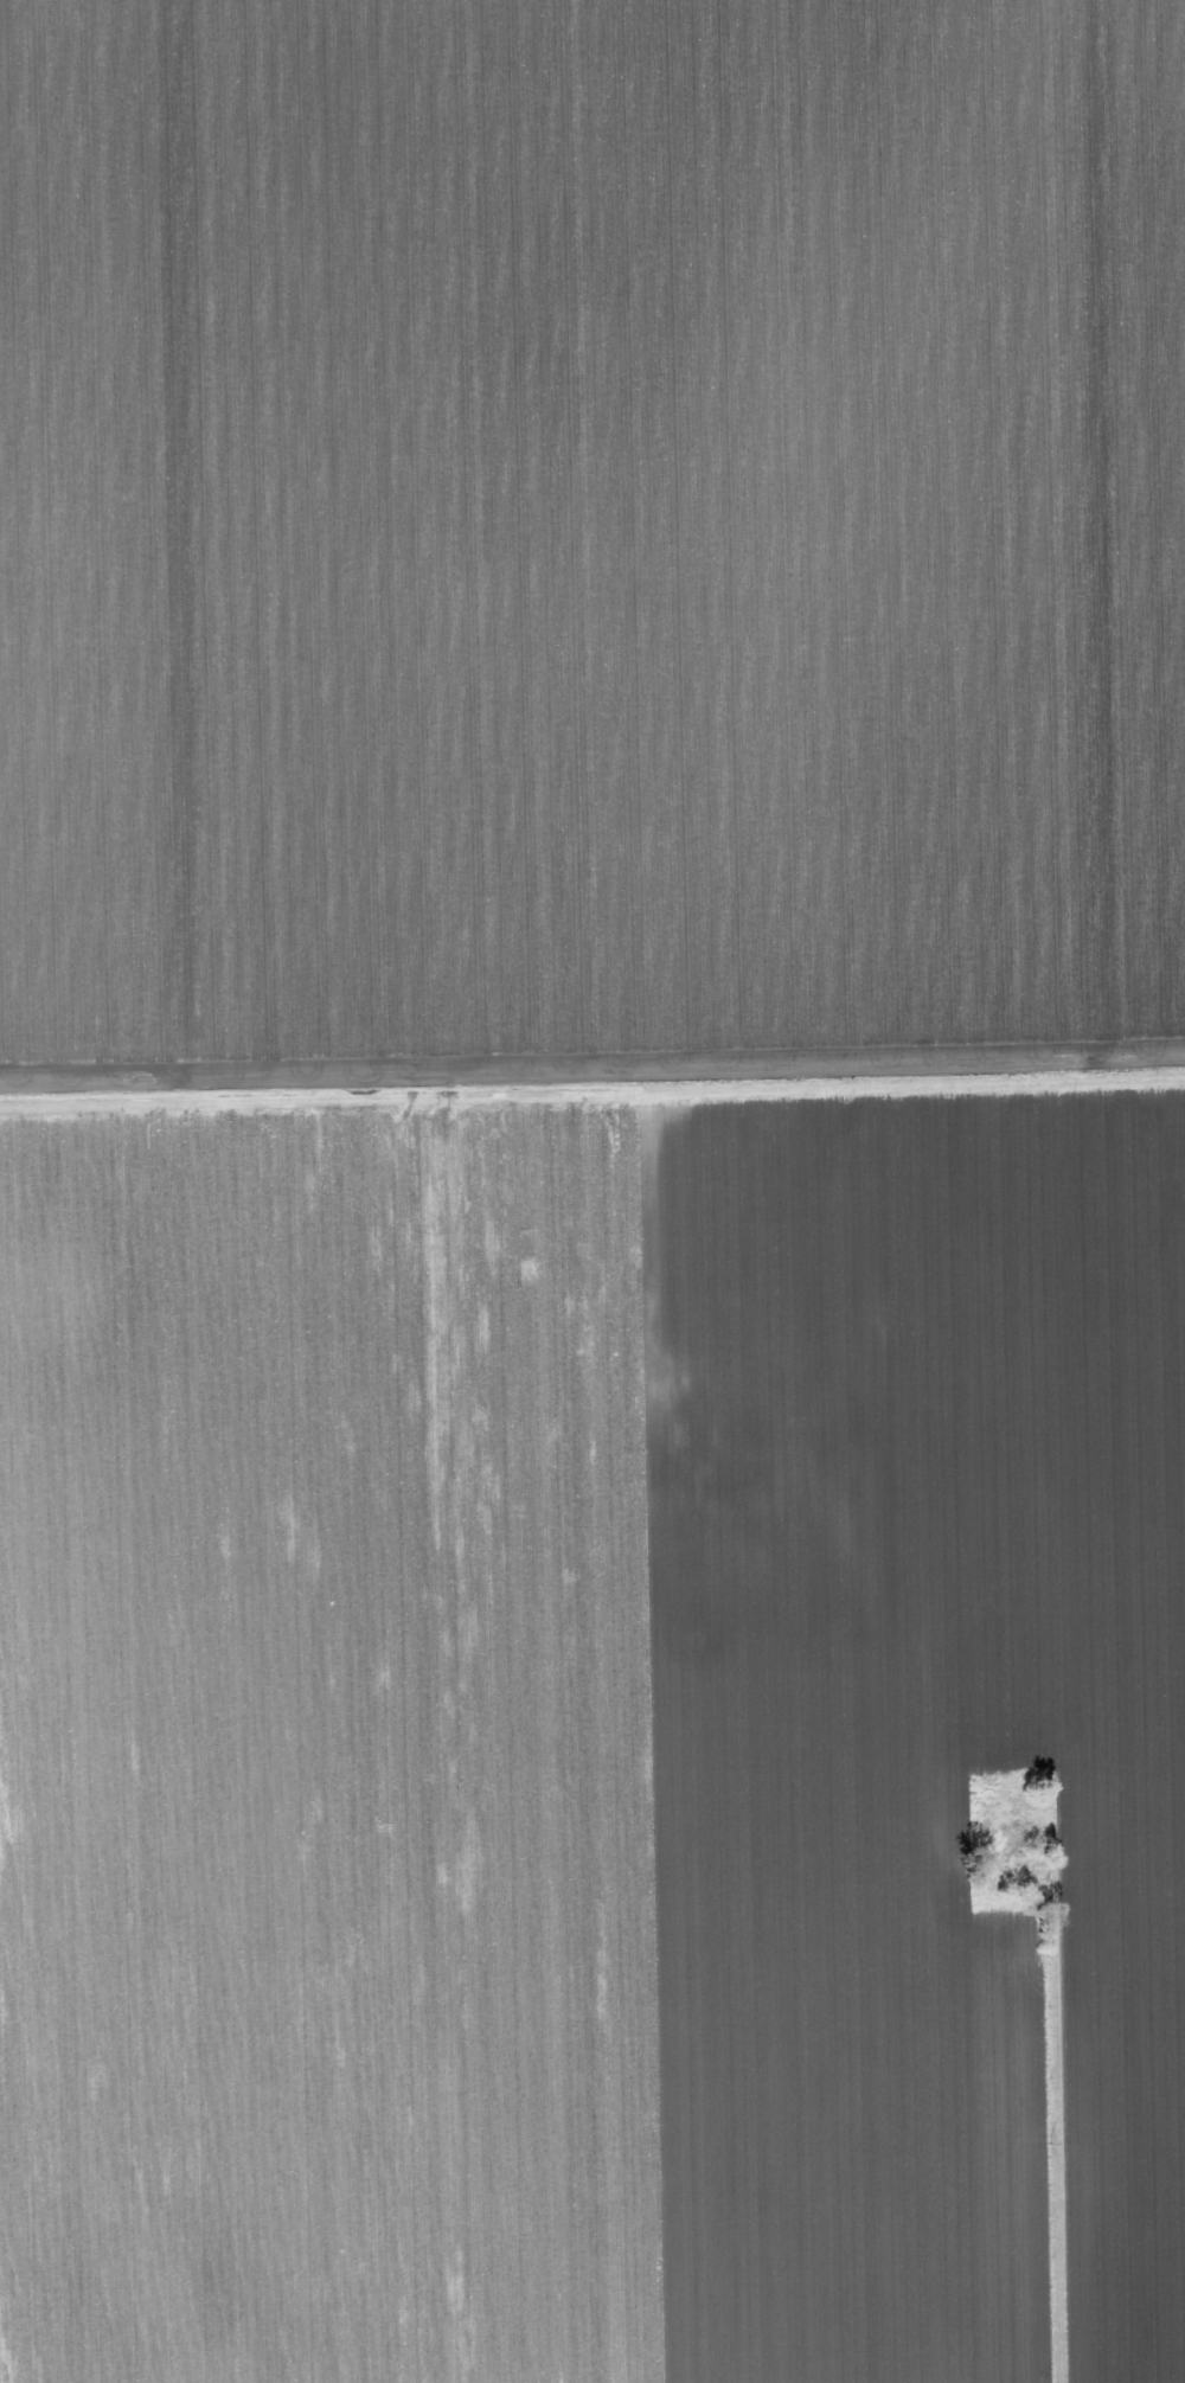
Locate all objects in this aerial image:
building: (1017, 1871)
road: (1075, 2109)

